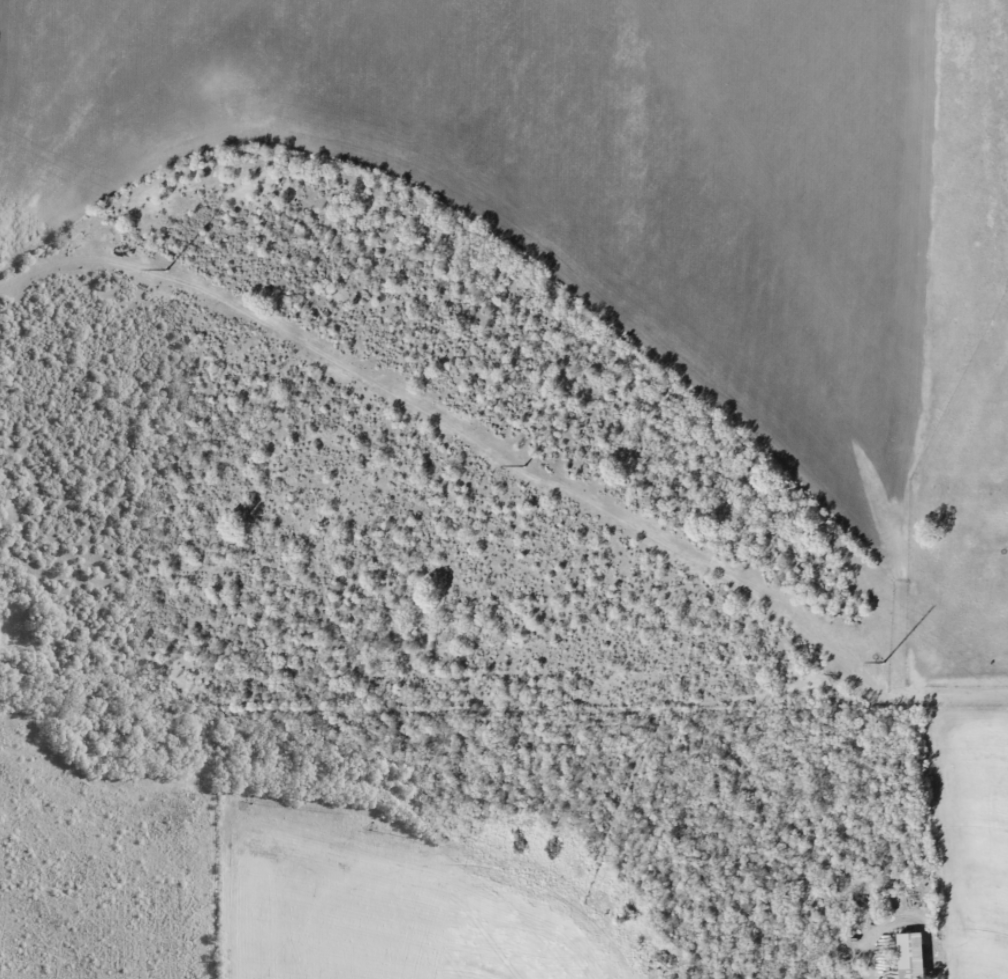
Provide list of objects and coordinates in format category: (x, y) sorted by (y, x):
power tower: (167, 270)
power tower: (524, 467)
power tower: (883, 663)
building: (905, 956)

